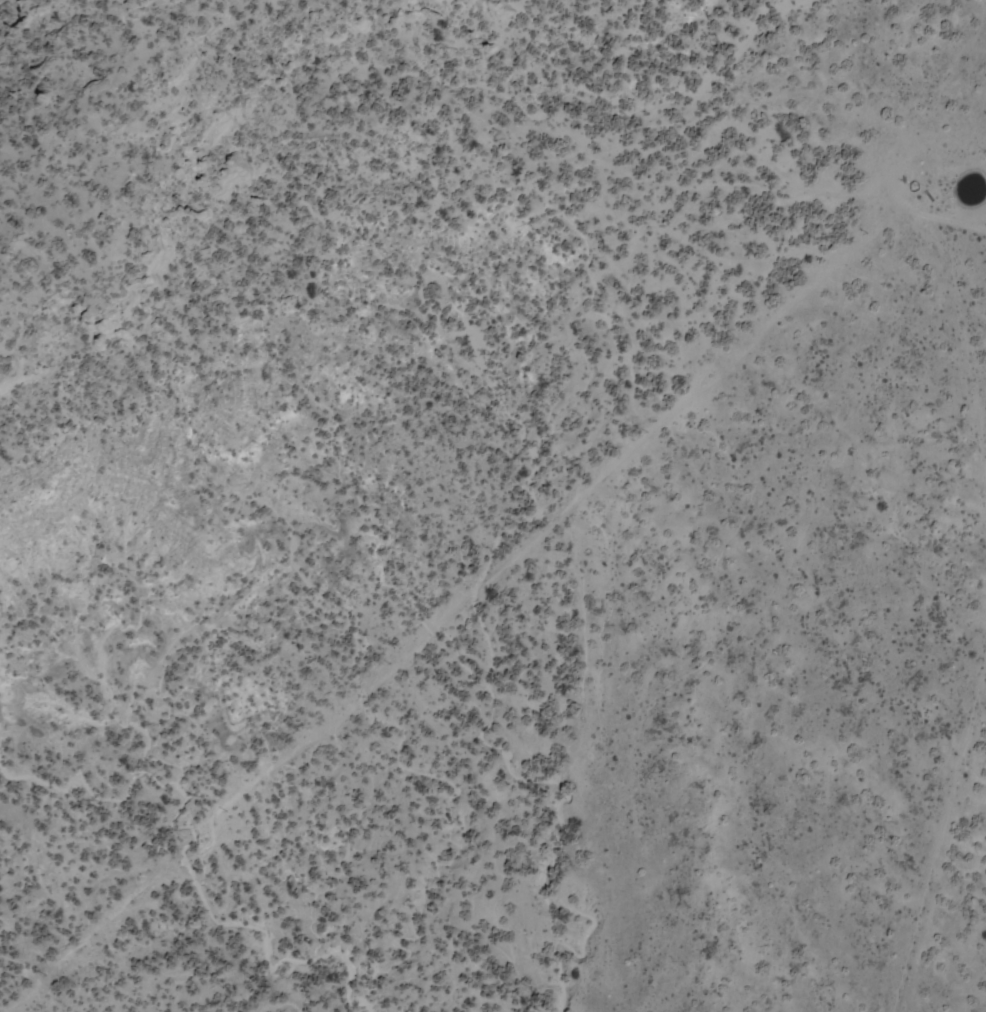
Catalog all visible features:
road: (503, 515)

